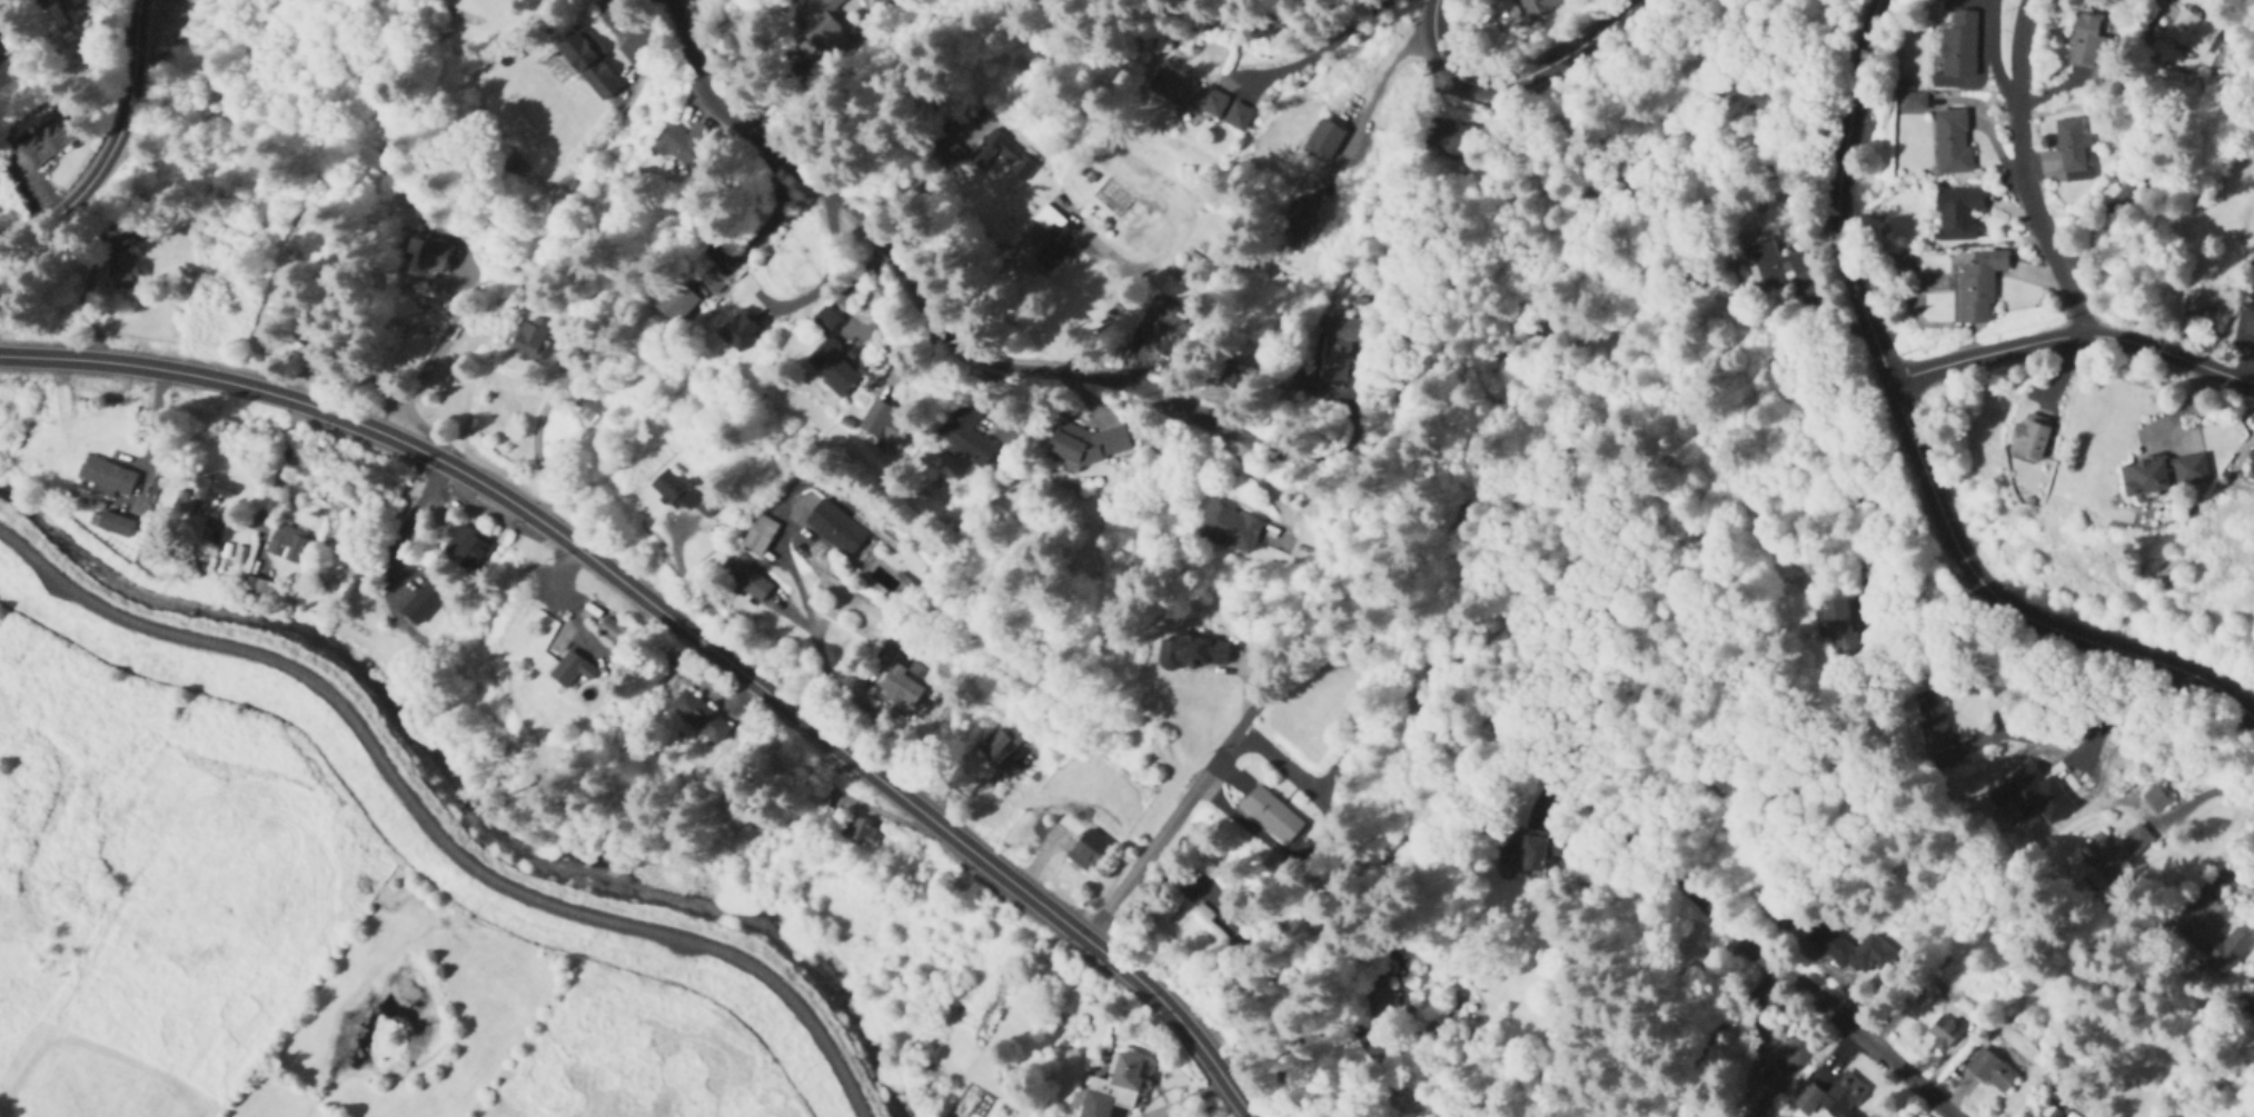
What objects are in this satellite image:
building: (73, 2)
building: (1536, 6)
building: (2191, 31)
building: (815, 39)
building: (2085, 39)
road: (1327, 41)
building: (1959, 44)
building: (588, 63)
road: (1513, 79)
road: (1371, 89)
building: (1186, 93)
building: (1913, 102)
building: (1450, 138)
building: (44, 141)
building: (1952, 141)
building: (683, 144)
building: (2071, 144)
road: (115, 149)
building: (981, 154)
road: (2022, 173)
road: (1840, 195)
building: (1956, 212)
building: (1303, 213)
building: (1138, 215)
building: (1051, 237)
building: (426, 258)
building: (1774, 263)
building: (122, 270)
road: (825, 278)
building: (711, 280)
road: (1126, 285)
building: (1978, 285)
road: (922, 297)
building: (674, 301)
building: (2210, 311)
building: (825, 320)
building: (2248, 322)
building: (738, 329)
building: (1161, 331)
road: (2073, 335)
building: (529, 341)
building: (1337, 346)
building: (834, 367)
road: (420, 371)
building: (1235, 376)
building: (592, 412)
building: (885, 423)
building: (964, 435)
building: (2029, 436)
building: (1091, 443)
building: (2251, 465)
building: (2164, 473)
building: (107, 477)
road: (1261, 485)
road: (272, 486)
building: (208, 490)
building: (678, 490)
road: (407, 519)
building: (115, 525)
building: (835, 528)
building: (1229, 528)
building: (287, 543)
building: (467, 547)
building: (193, 562)
building: (745, 577)
building: (421, 602)
road: (2018, 609)
road: (687, 625)
building: (1836, 627)
building: (609, 630)
building: (1194, 650)
building: (570, 670)
building: (901, 685)
road: (2121, 709)
building: (699, 718)
building: (1932, 722)
building: (1004, 750)
road: (2200, 791)
building: (2156, 798)
building: (818, 800)
building: (1271, 815)
road: (1170, 822)
road: (429, 830)
building: (861, 831)
building: (1088, 850)
building: (2114, 851)
building: (1518, 854)
building: (1208, 924)
building: (2214, 945)
building: (1855, 950)
building: (1947, 989)
road: (1821, 1004)
building: (2250, 1007)
building: (1381, 1011)
building: (1943, 1031)
building: (1796, 1053)
building: (1990, 1070)
building: (1119, 1083)
building: (1761, 1087)
building: (1833, 1097)

